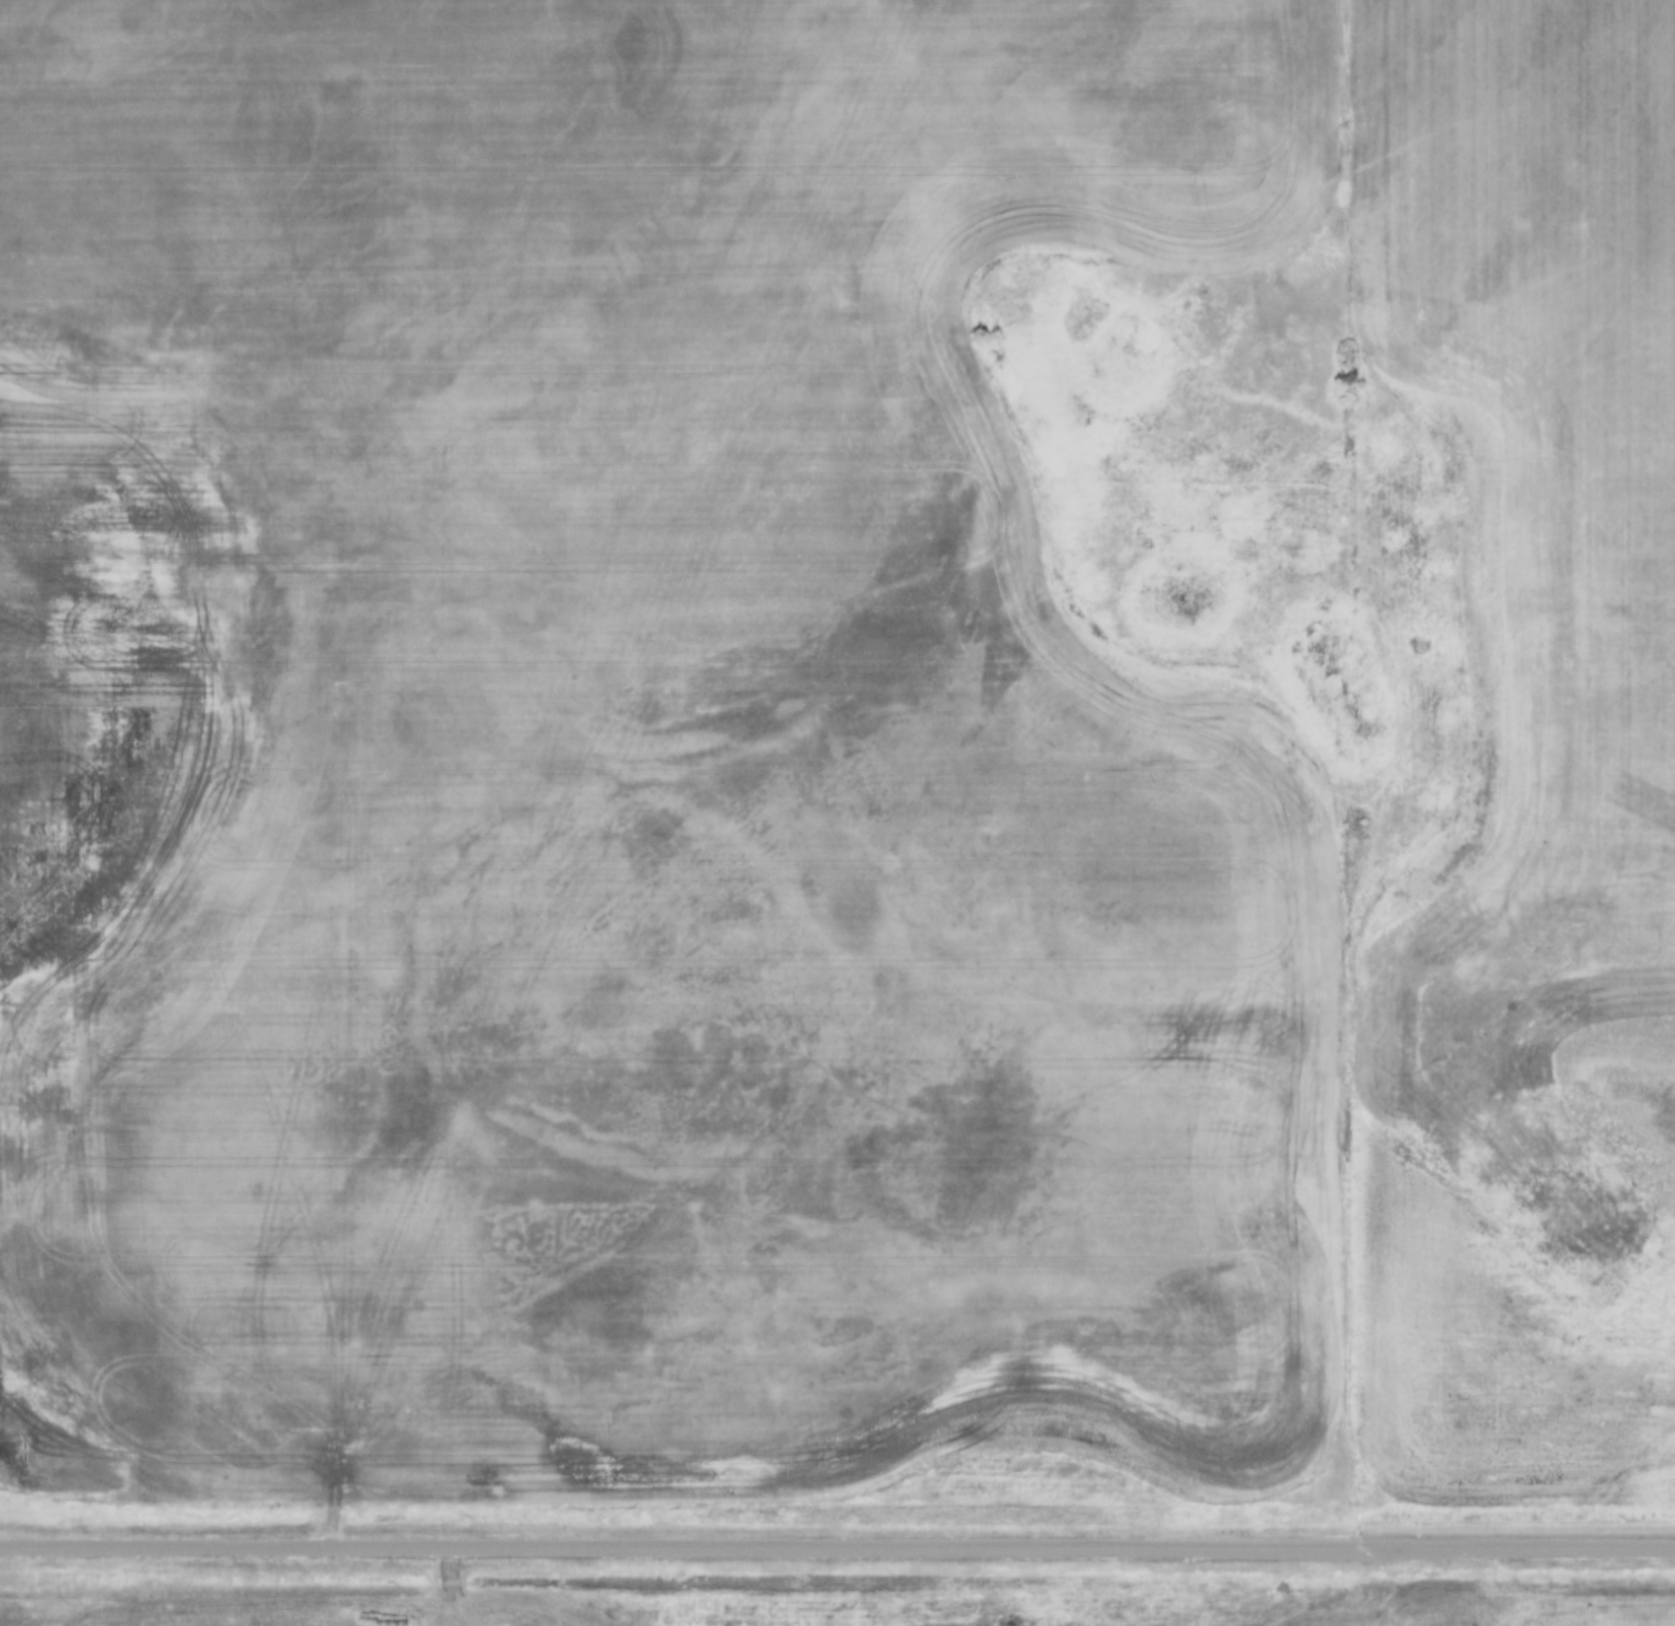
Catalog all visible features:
road: (837, 1549)

